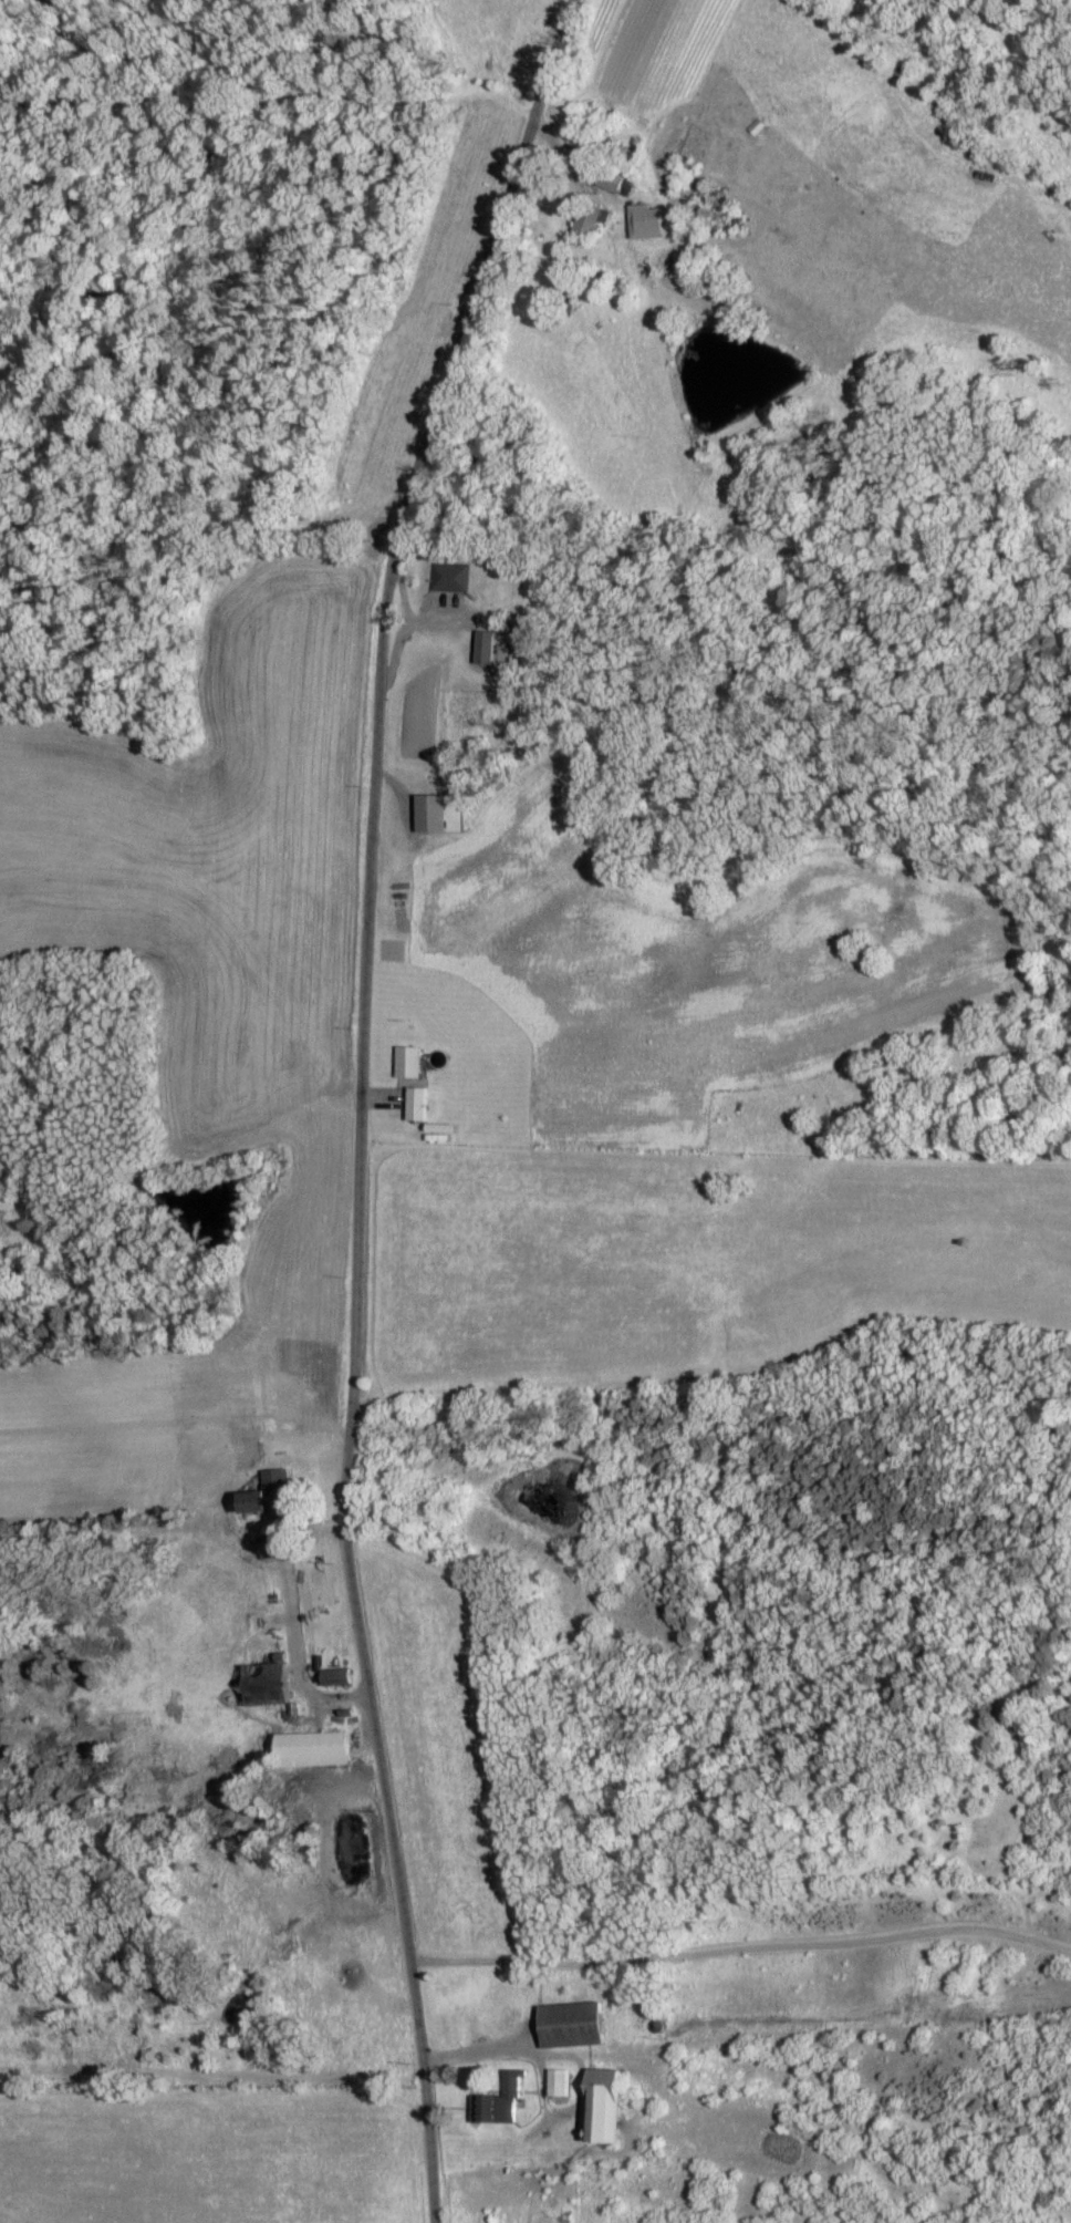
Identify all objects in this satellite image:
building: (589, 221)
building: (645, 223)
building: (448, 578)
building: (485, 649)
building: (440, 815)
building: (407, 1063)
road: (364, 1099)
building: (416, 1105)
building: (269, 1492)
building: (335, 1677)
building: (268, 1683)
building: (313, 1749)
building: (573, 2025)
building: (559, 2084)
building: (499, 2103)
building: (604, 2113)

